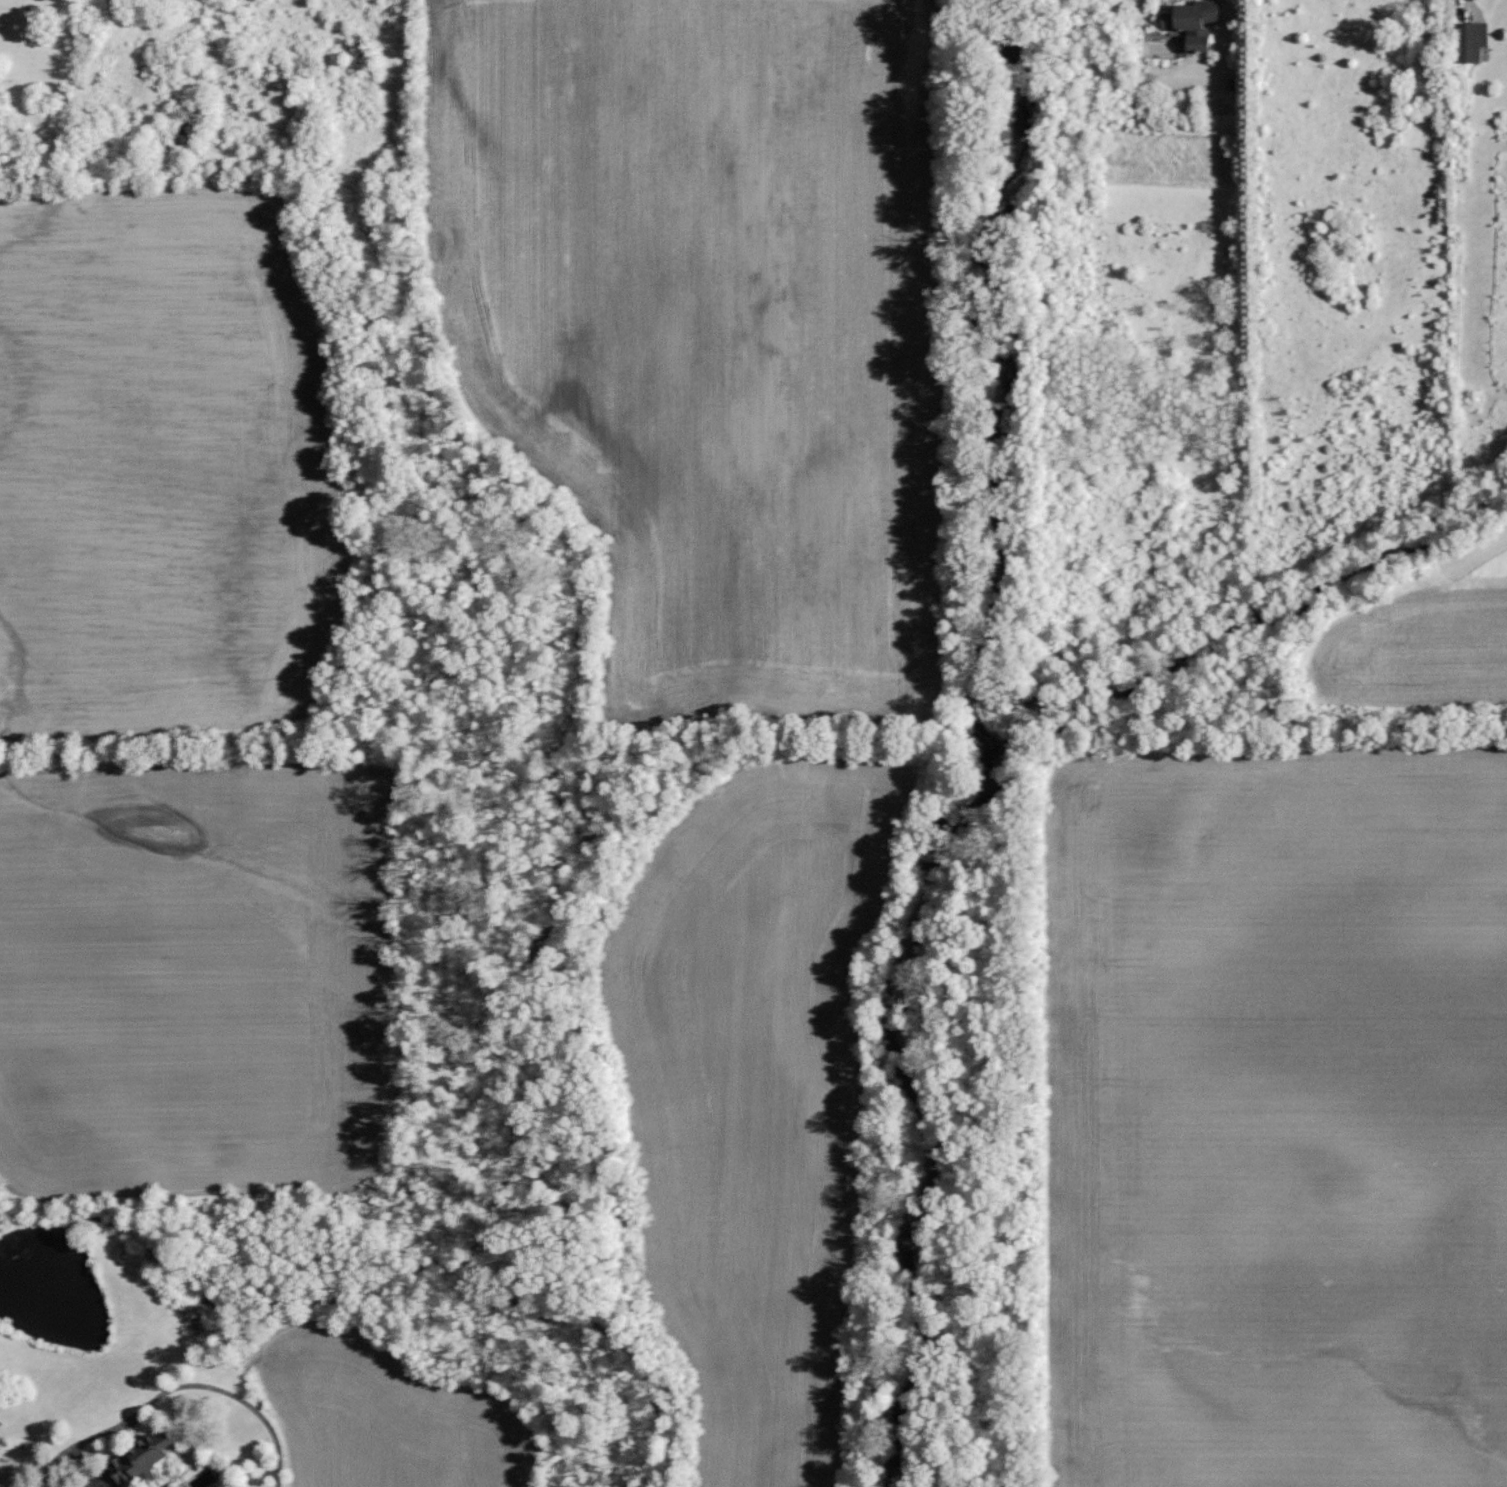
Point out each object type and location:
building: (1191, 21)
building: (1469, 40)
road: (175, 1381)
building: (128, 1461)

